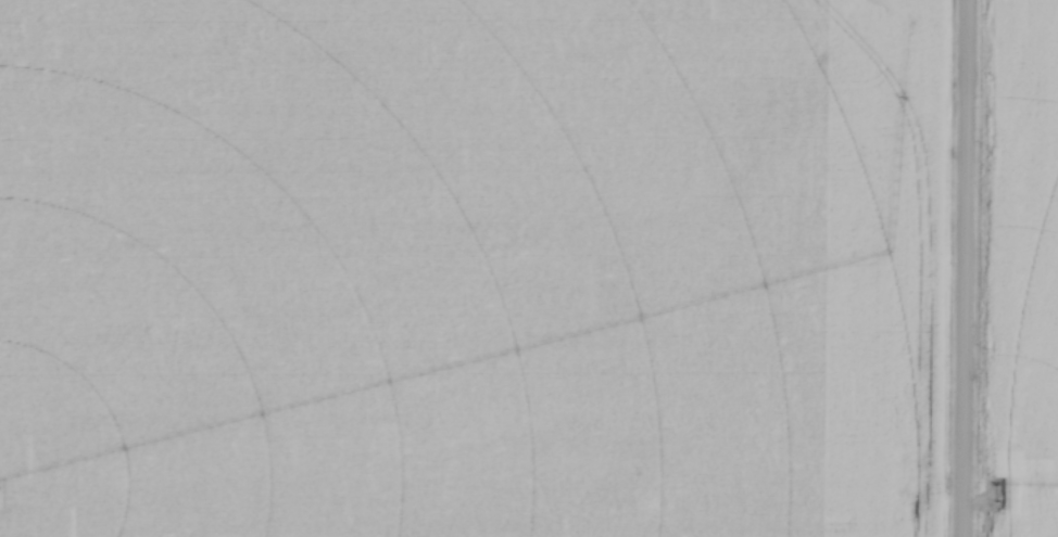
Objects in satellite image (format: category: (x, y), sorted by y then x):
road: (958, 268)

